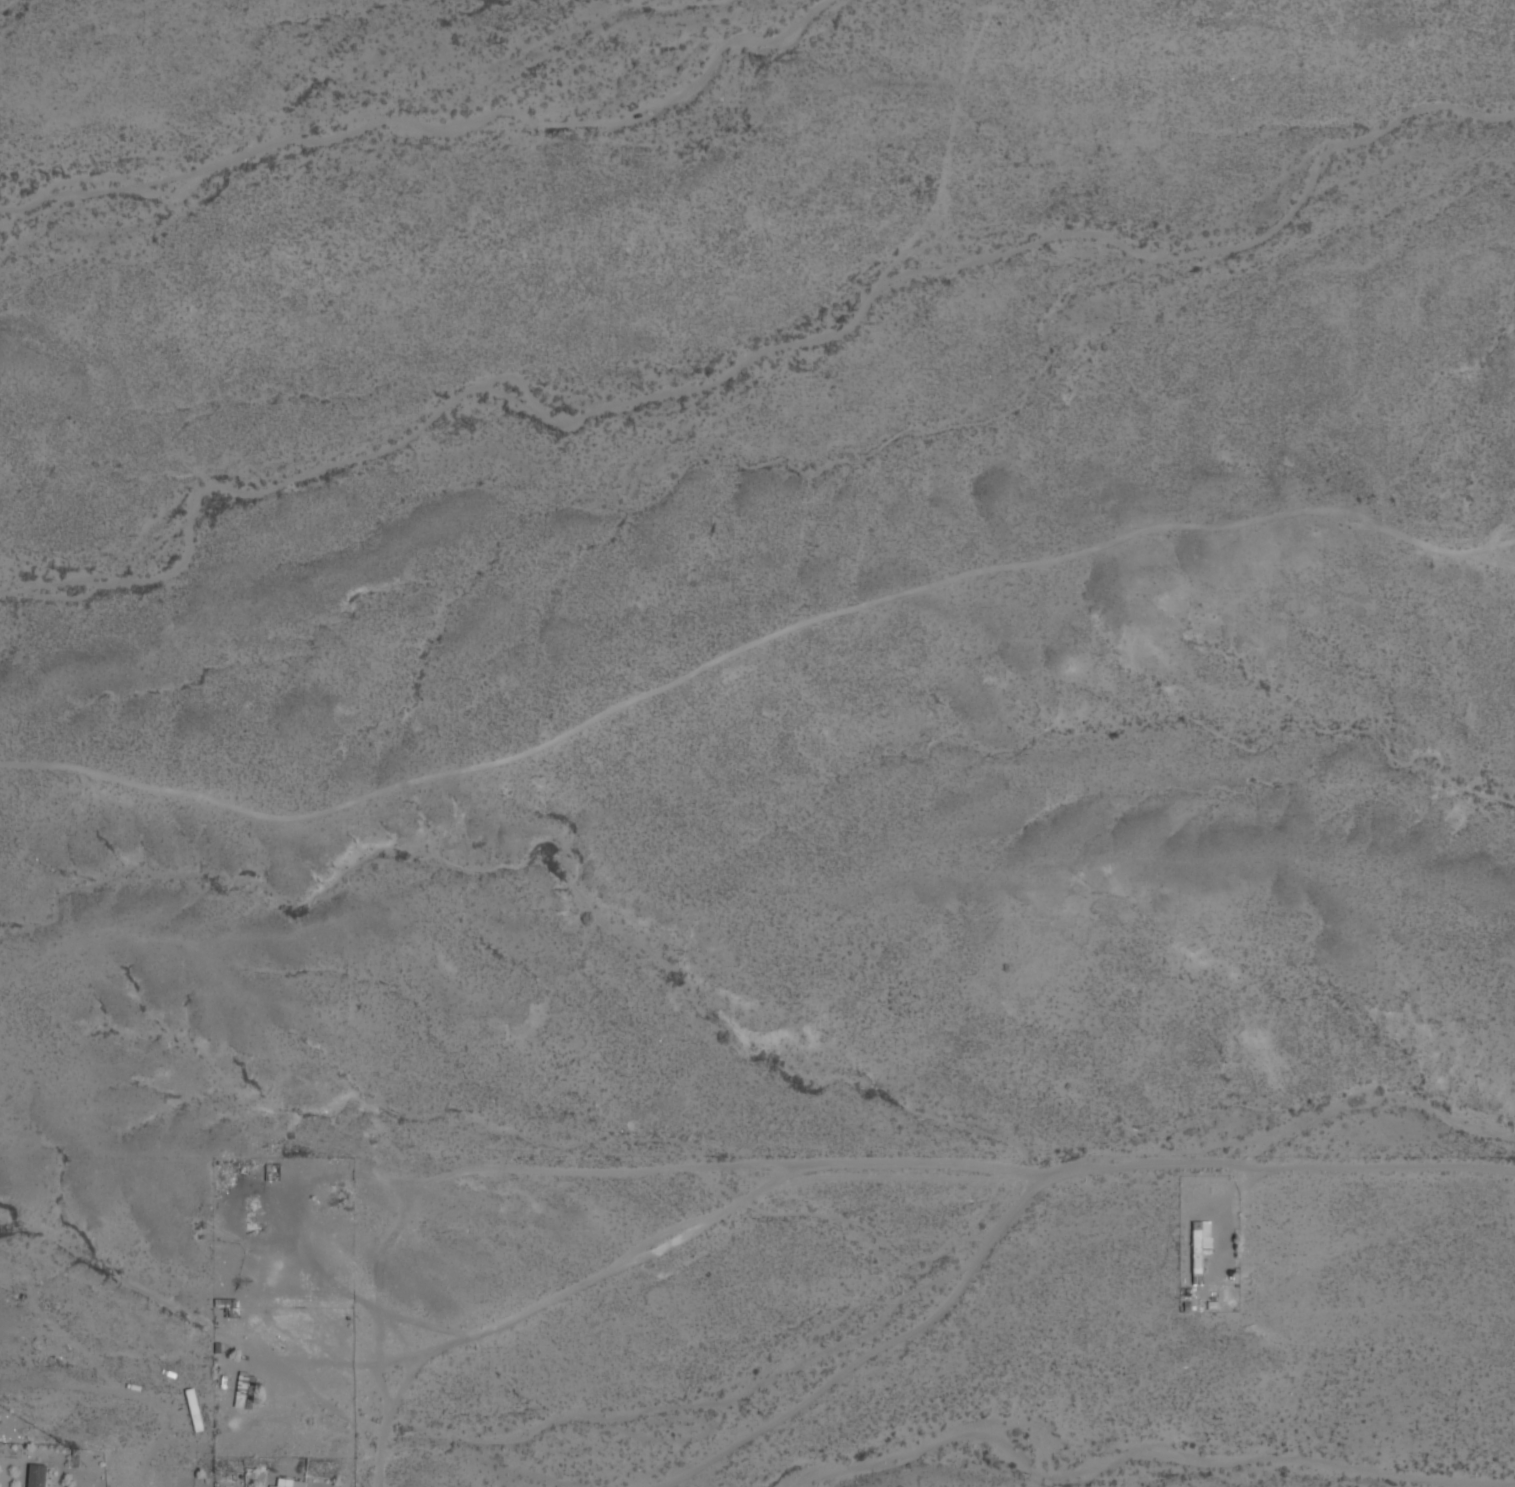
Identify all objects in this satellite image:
building: (198, 1402)

